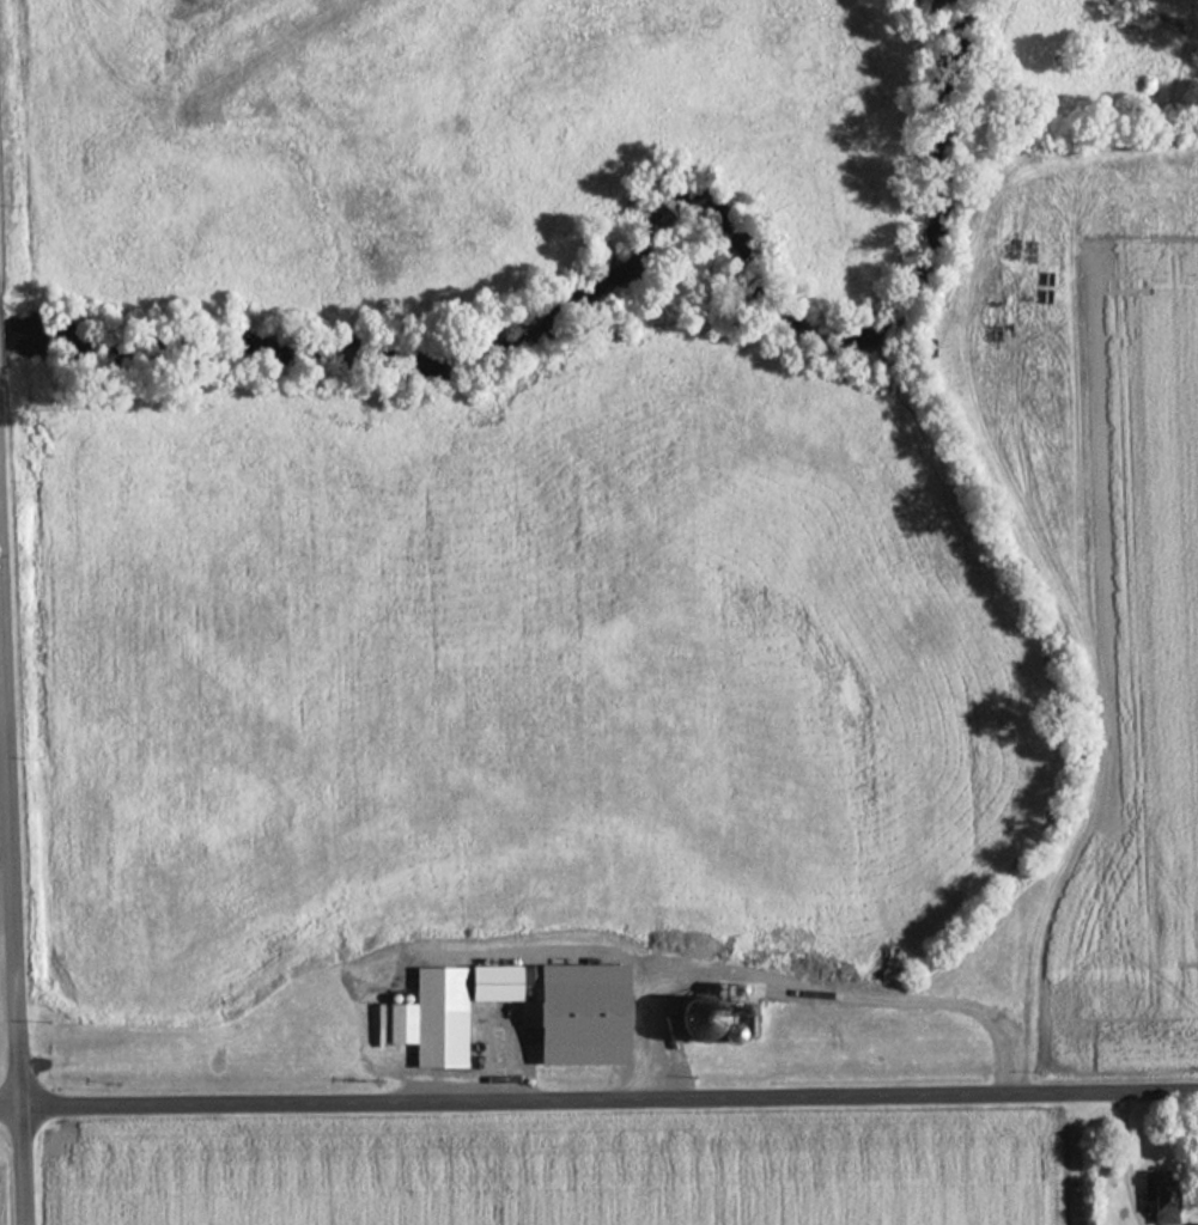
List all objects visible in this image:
road: (13, 912)
building: (437, 1011)
building: (573, 1013)
road: (598, 1097)
building: (1161, 1215)
building: (1190, 1224)

